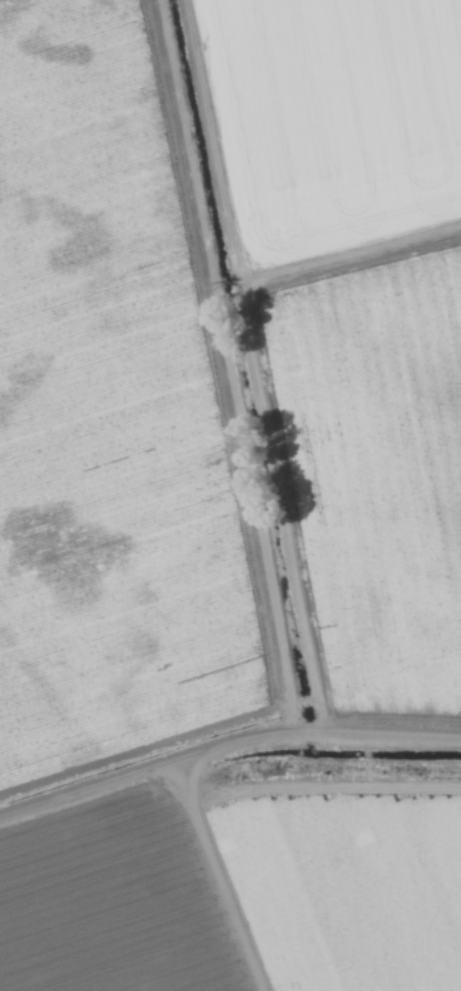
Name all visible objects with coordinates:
road: (207, 747)
road: (104, 776)

